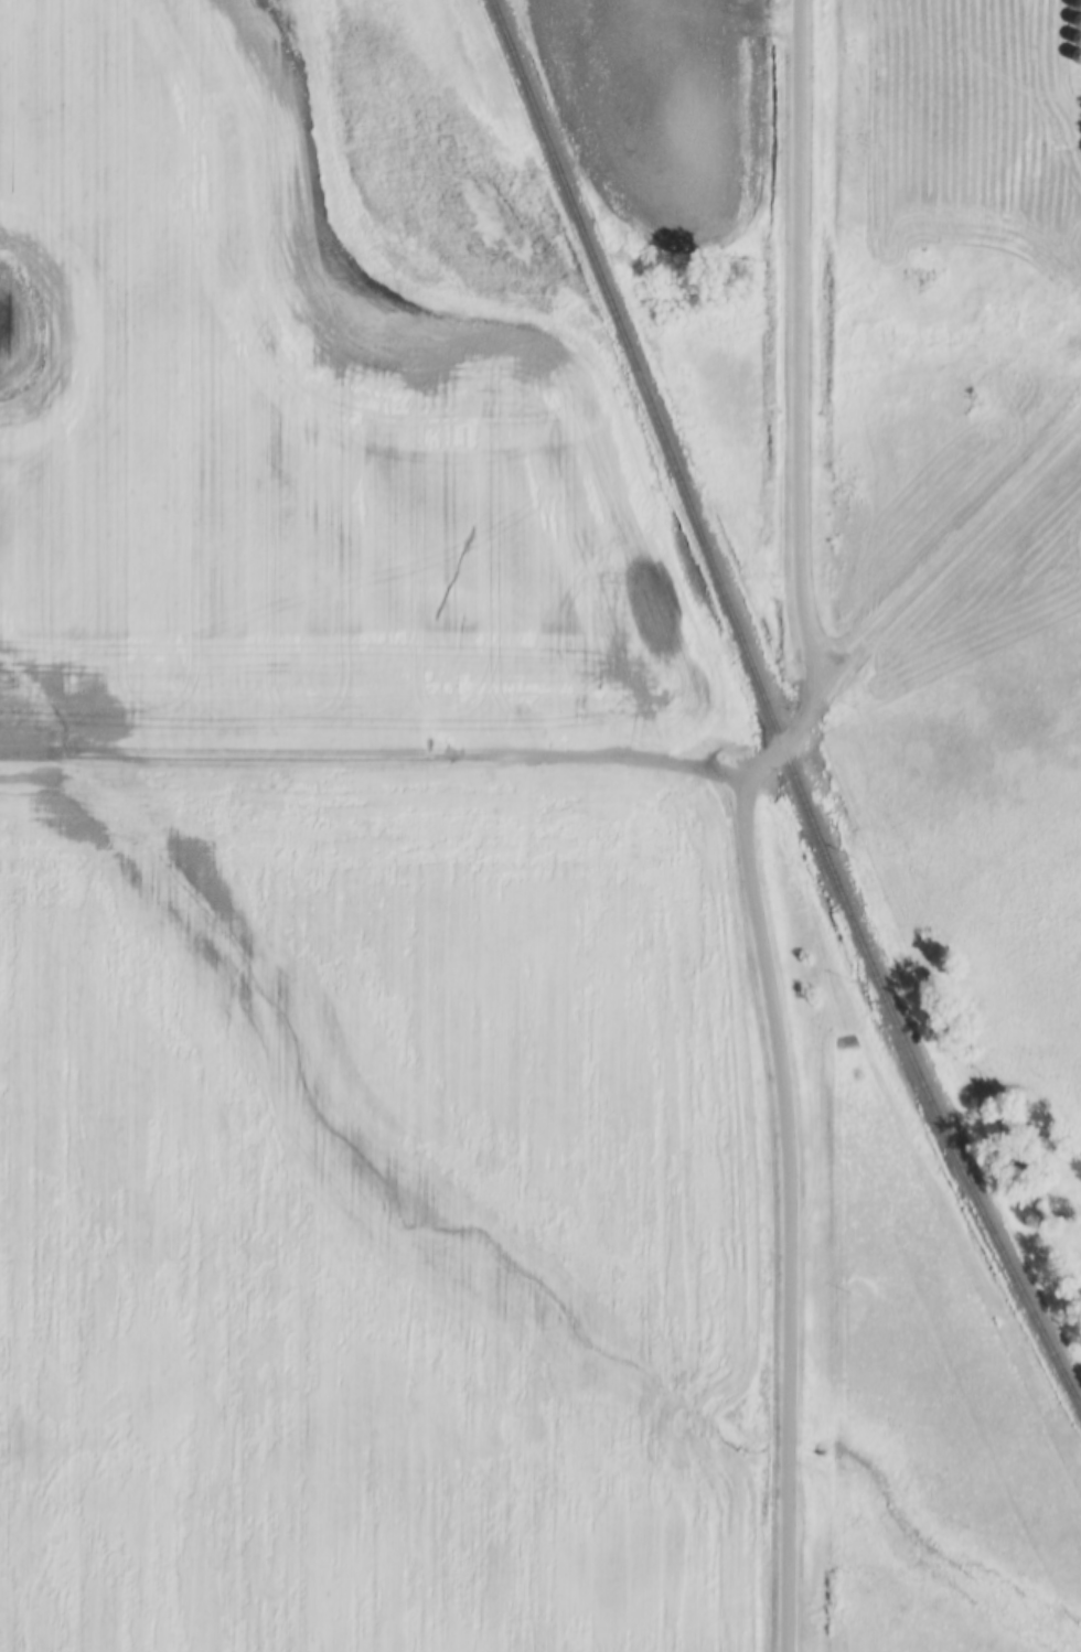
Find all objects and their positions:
road: (798, 340)
road: (952, 543)
railway: (769, 709)
road: (372, 762)
road: (785, 1148)

